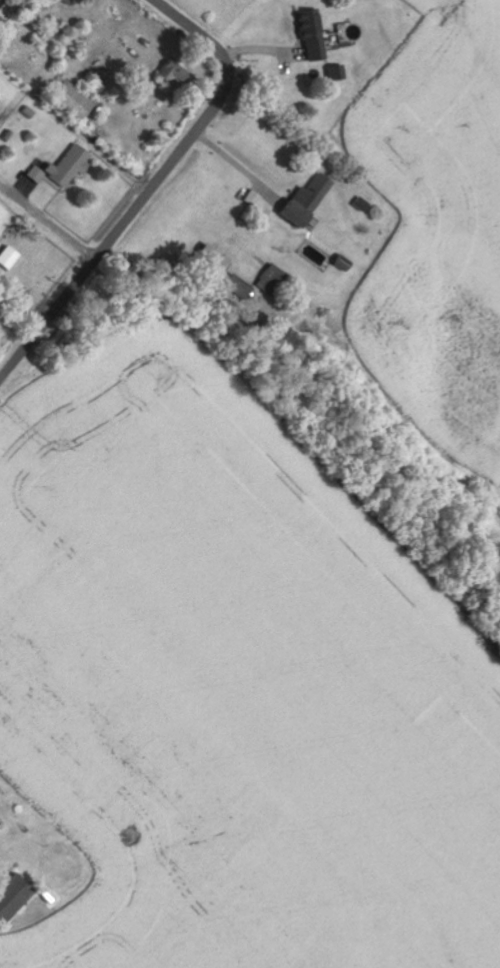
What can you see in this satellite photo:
building: (73, 0)
road: (172, 12)
building: (310, 34)
building: (168, 73)
building: (335, 73)
building: (71, 102)
road: (237, 164)
building: (61, 168)
building: (302, 201)
road: (139, 205)
building: (271, 279)
building: (235, 287)
building: (11, 895)

